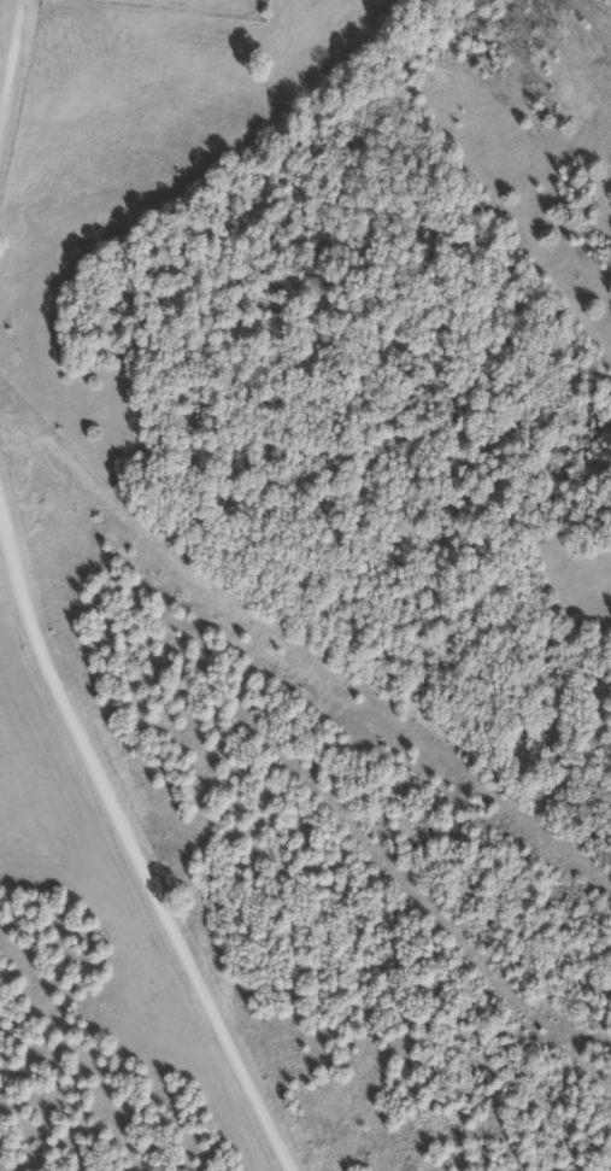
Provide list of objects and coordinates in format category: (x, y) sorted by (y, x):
park: (202, 7)
road: (2, 40)
road: (128, 890)

